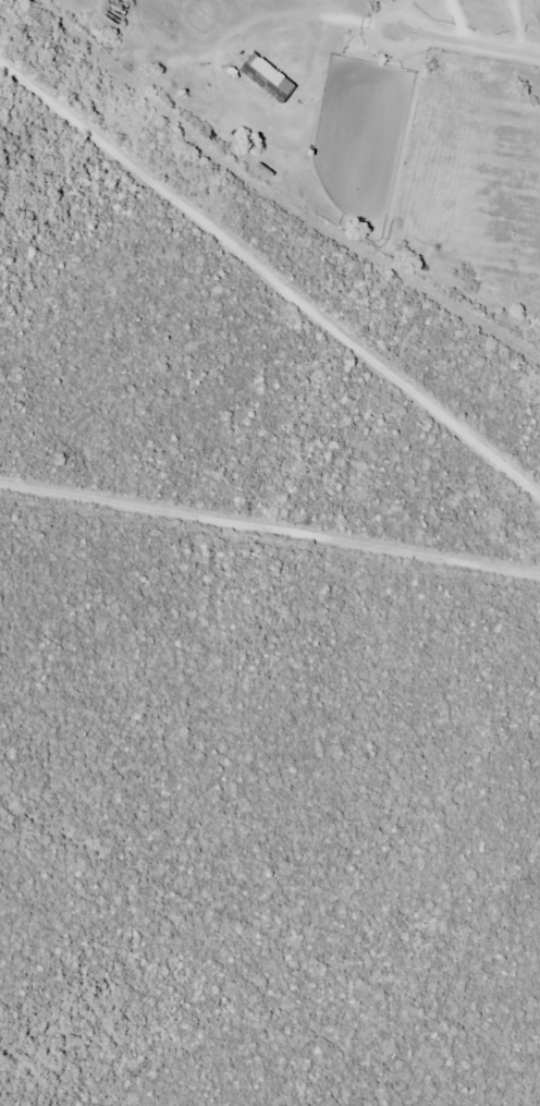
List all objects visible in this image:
building: (263, 70)

